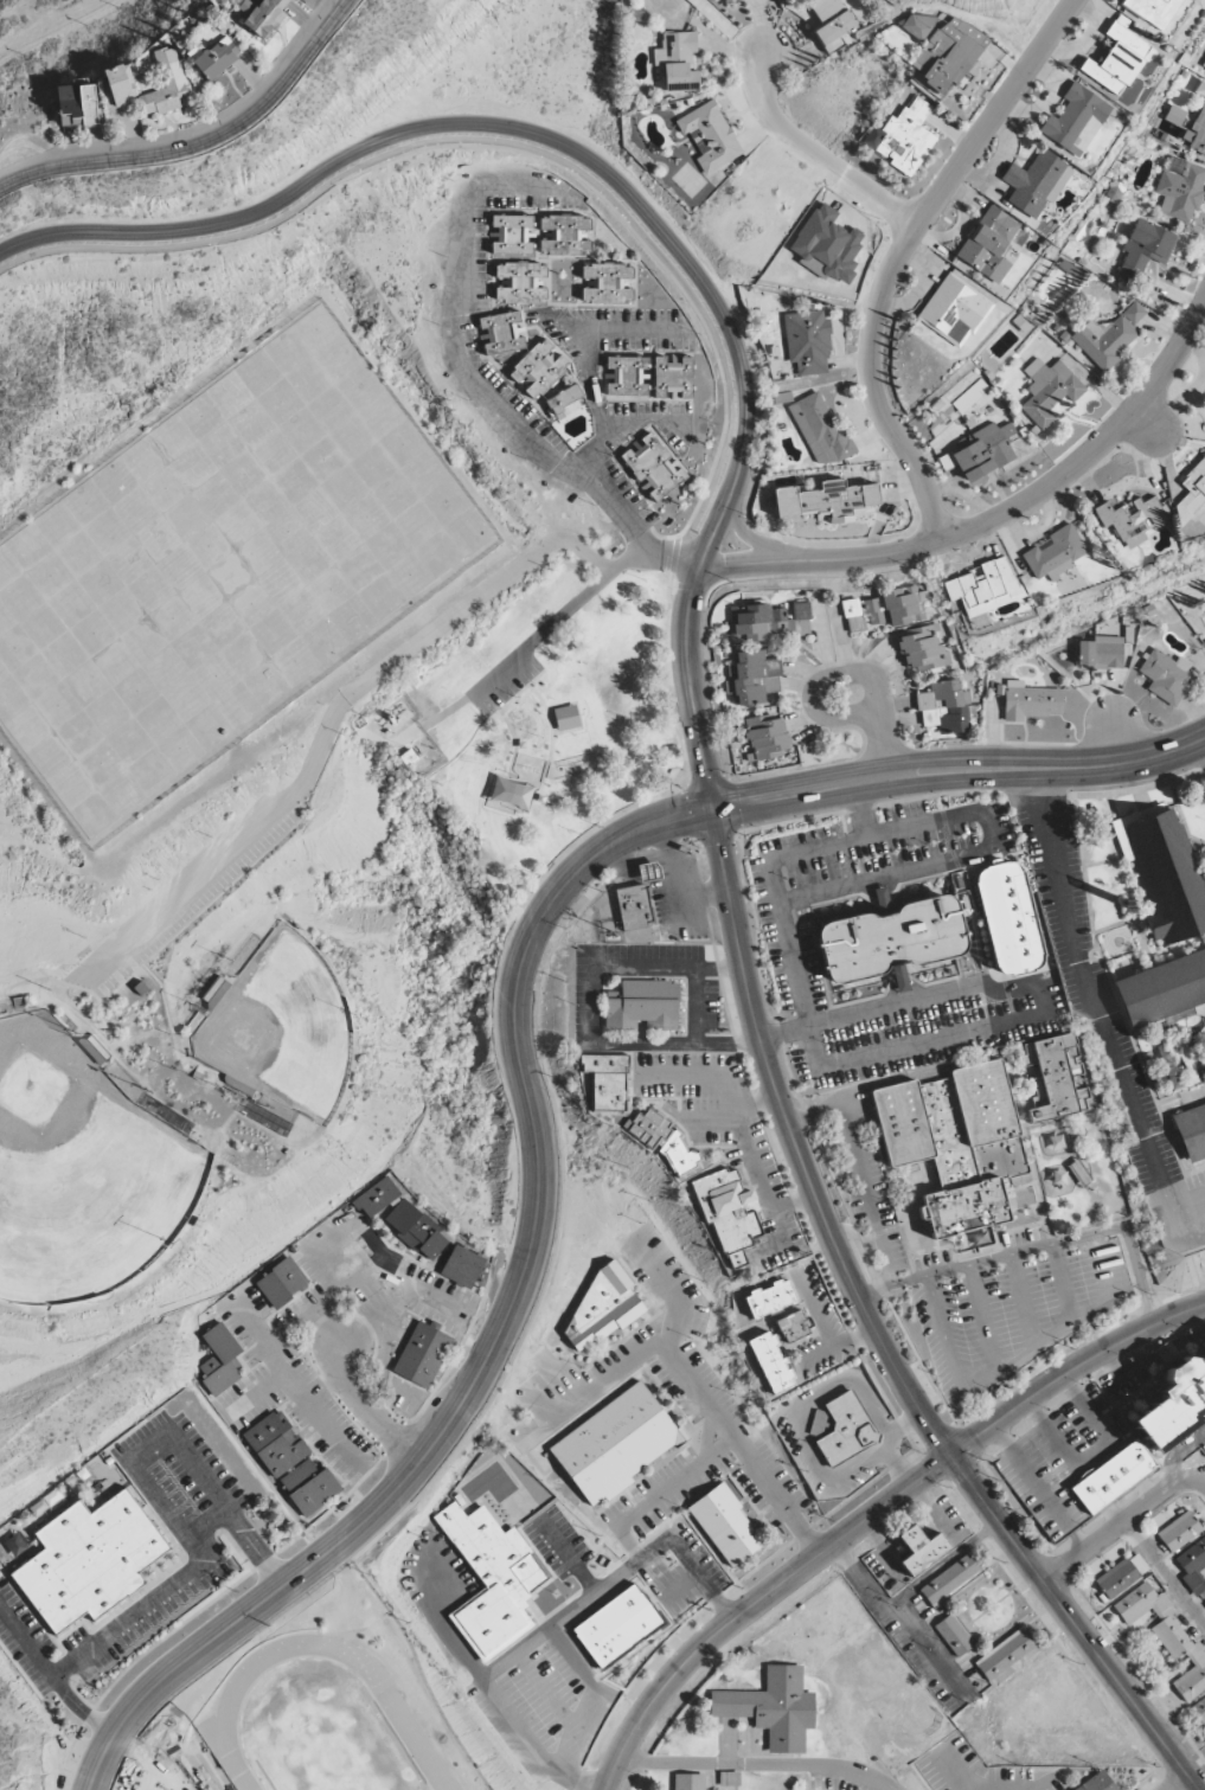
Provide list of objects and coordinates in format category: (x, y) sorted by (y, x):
road: (25, 5)
building: (248, 6)
road: (9, 11)
building: (1152, 11)
road: (58, 12)
building: (265, 17)
building: (831, 23)
building: (917, 25)
park: (72, 41)
building: (949, 53)
building: (217, 58)
building: (1117, 59)
building: (677, 60)
building: (1204, 66)
building: (121, 84)
building: (167, 84)
building: (1200, 89)
building: (77, 104)
building: (1076, 120)
building: (1197, 130)
building: (710, 136)
building: (902, 137)
road: (201, 142)
road: (818, 156)
building: (1036, 182)
building: (1180, 188)
road: (621, 192)
road: (639, 230)
building: (512, 235)
building: (566, 235)
building: (988, 243)
road: (645, 245)
road: (171, 248)
building: (1145, 249)
road: (900, 254)
building: (520, 282)
building: (607, 283)
building: (954, 309)
road: (637, 332)
building: (501, 333)
building: (1109, 335)
building: (807, 341)
road: (590, 363)
road: (464, 368)
building: (538, 370)
building: (673, 377)
building: (1050, 391)
building: (564, 402)
building: (819, 429)
building: (985, 450)
building: (653, 468)
building: (1192, 493)
building: (826, 499)
road: (1007, 514)
building: (1133, 520)
road: (633, 528)
road: (756, 539)
road: (673, 553)
building: (1056, 553)
building: (985, 586)
building: (886, 608)
building: (769, 621)
road: (534, 639)
building: (922, 648)
building: (1101, 652)
road: (863, 674)
parking lot: (507, 675)
building: (1166, 675)
building: (752, 676)
building: (1030, 701)
building: (944, 707)
building: (566, 717)
road: (332, 725)
building: (765, 734)
park: (565, 737)
road: (515, 740)
road: (886, 745)
road: (1201, 746)
road: (960, 770)
building: (511, 794)
traffic signals: (714, 810)
road: (866, 830)
road: (852, 840)
building: (1165, 870)
building: (649, 871)
road: (860, 881)
parking lot: (184, 896)
building: (636, 907)
building: (1011, 918)
building: (892, 939)
road: (153, 954)
road: (794, 964)
building: (1164, 989)
building: (643, 1006)
road: (867, 1012)
road: (1095, 1013)
park: (282, 1028)
road: (172, 1031)
road: (923, 1044)
building: (1059, 1078)
building: (608, 1080)
building: (1191, 1131)
building: (662, 1140)
building: (957, 1143)
road: (797, 1146)
road: (859, 1168)
park: (84, 1178)
building: (377, 1196)
building: (728, 1212)
building: (416, 1230)
road: (1043, 1246)
road: (321, 1266)
building: (462, 1266)
road: (396, 1275)
building: (282, 1282)
road: (1064, 1283)
road: (672, 1290)
building: (770, 1300)
road: (1024, 1302)
road: (320, 1305)
building: (604, 1307)
road: (380, 1317)
road: (983, 1320)
road: (500, 1326)
building: (793, 1326)
road: (328, 1328)
building: (422, 1354)
building: (220, 1360)
road: (1018, 1361)
building: (771, 1362)
road: (383, 1369)
road: (1072, 1371)
road: (295, 1387)
road: (325, 1387)
road: (252, 1396)
building: (1174, 1405)
road: (368, 1411)
road: (714, 1411)
building: (846, 1426)
building: (276, 1443)
building: (617, 1444)
road: (1177, 1452)
road: (1091, 1456)
road: (1030, 1476)
building: (1114, 1478)
building: (309, 1484)
road: (155, 1493)
road: (776, 1497)
road: (210, 1525)
building: (725, 1525)
road: (1122, 1525)
building: (1179, 1531)
building: (921, 1548)
road: (568, 1555)
building: (90, 1560)
building: (1139, 1563)
road: (944, 1564)
building: (1194, 1566)
road: (1166, 1574)
building: (1117, 1578)
building: (492, 1579)
building: (949, 1579)
road: (587, 1600)
road: (756, 1603)
road: (899, 1621)
road: (1075, 1623)
building: (618, 1627)
building: (954, 1635)
building: (1166, 1635)
road: (517, 1655)
building: (1007, 1655)
road: (51, 1679)
road: (489, 1689)
building: (773, 1707)
track: (396, 1709)
building: (1199, 1711)
road: (754, 1764)
road: (953, 1773)
building: (688, 1782)
building: (1097, 1783)
park: (174, 1784)
road: (1039, 1784)
road: (1182, 1784)

